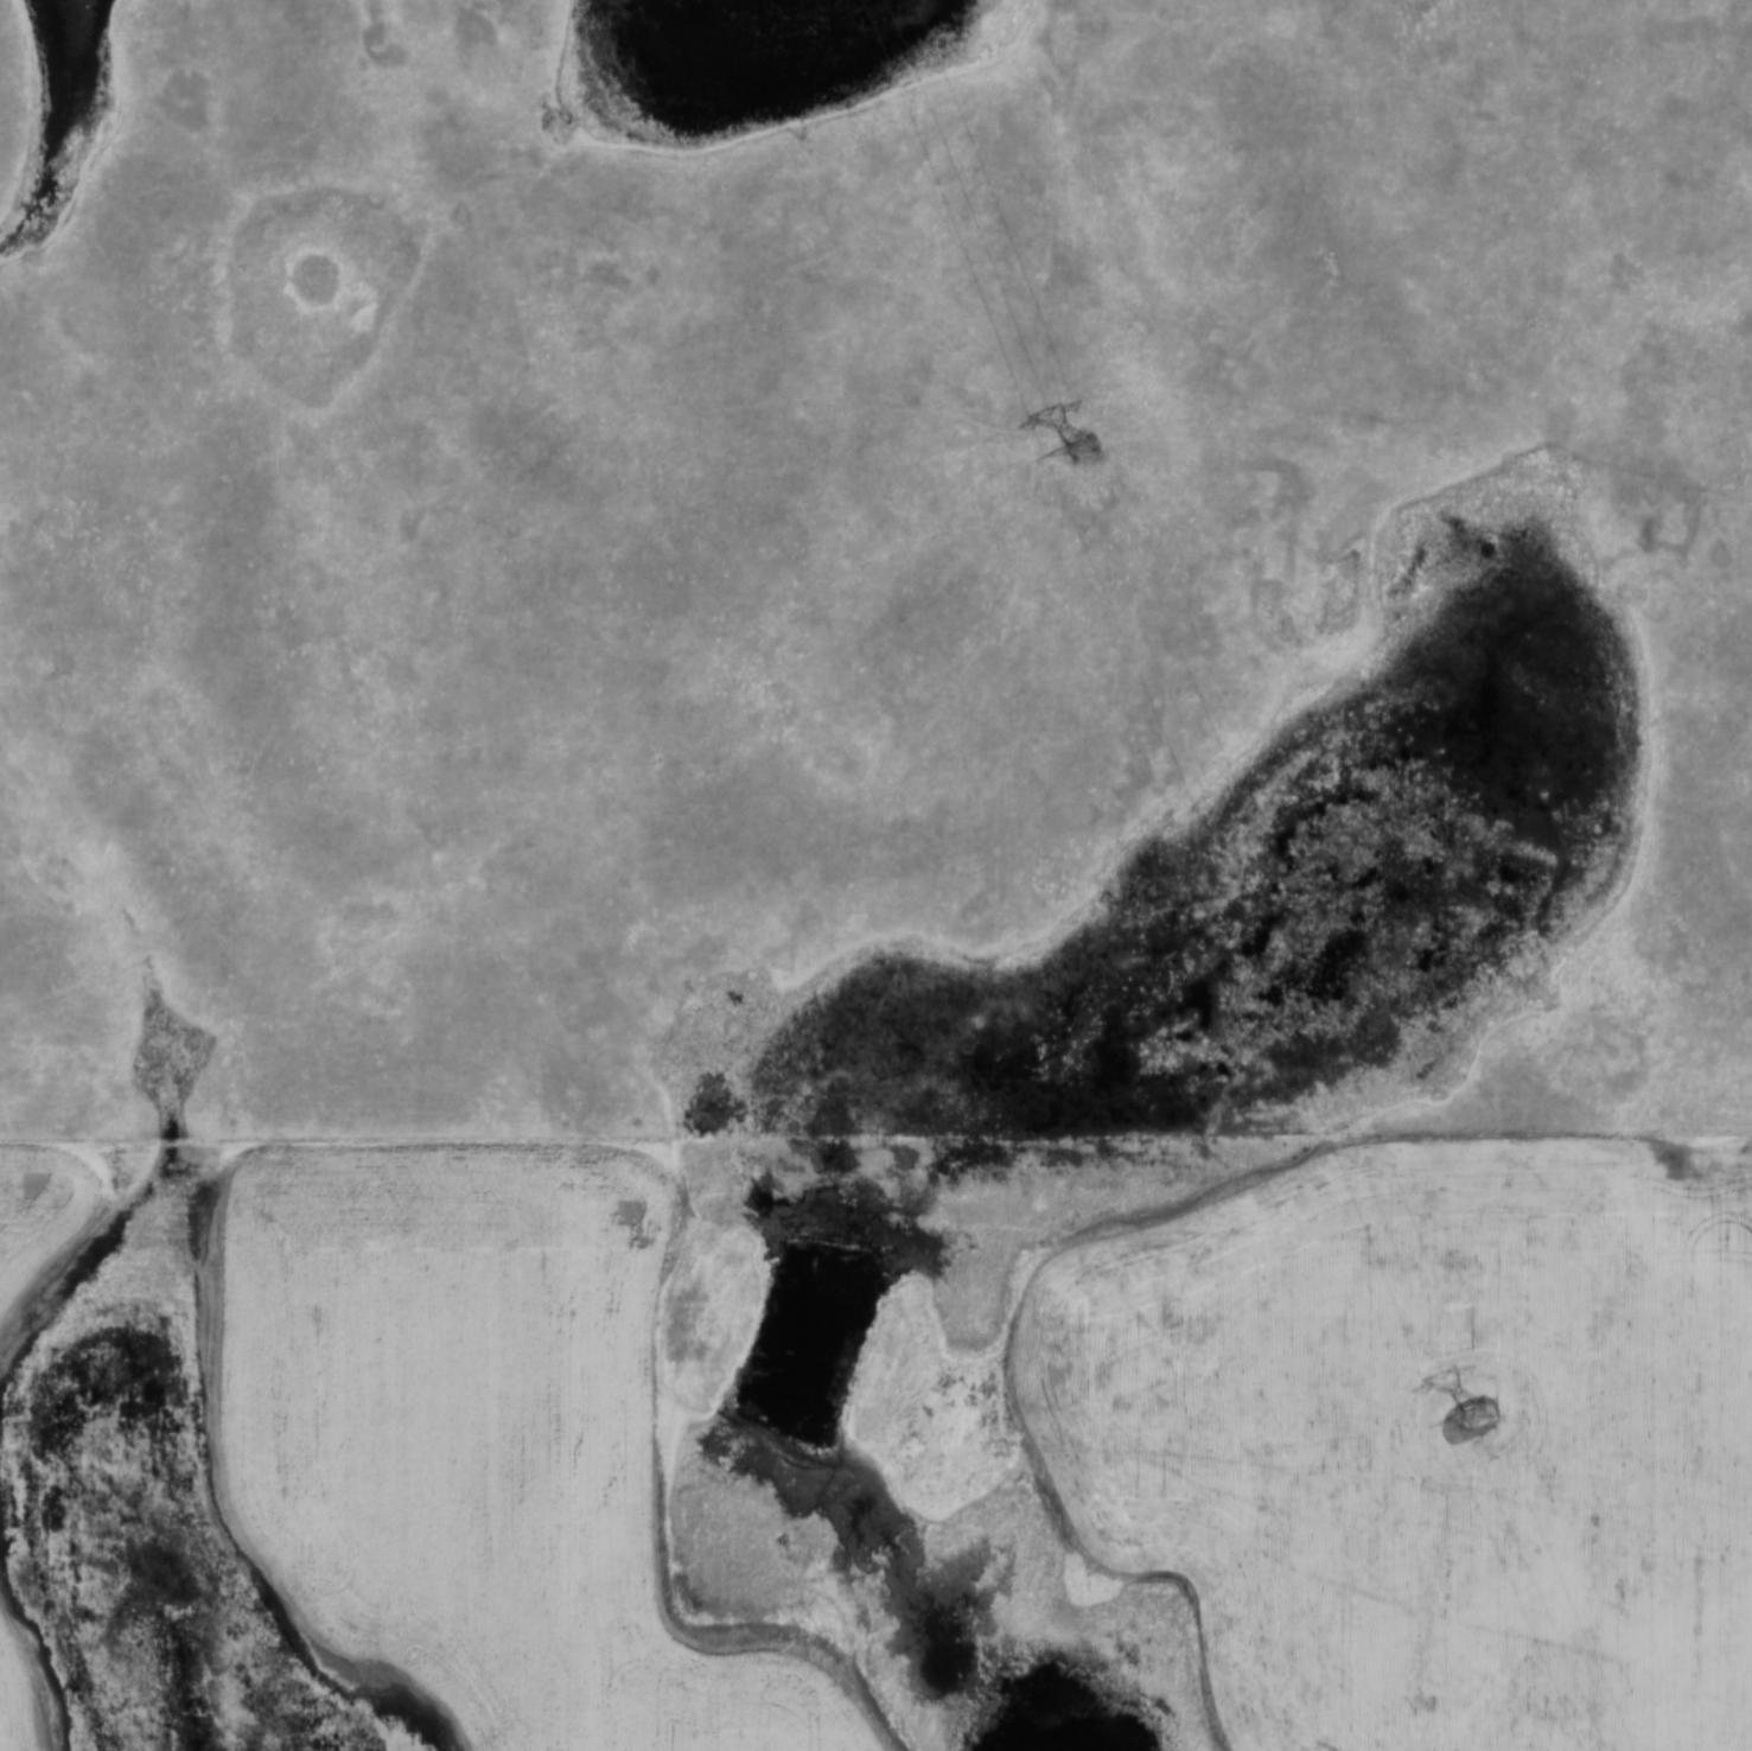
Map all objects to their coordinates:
power tower: (1084, 448)
power tower: (1476, 1411)

